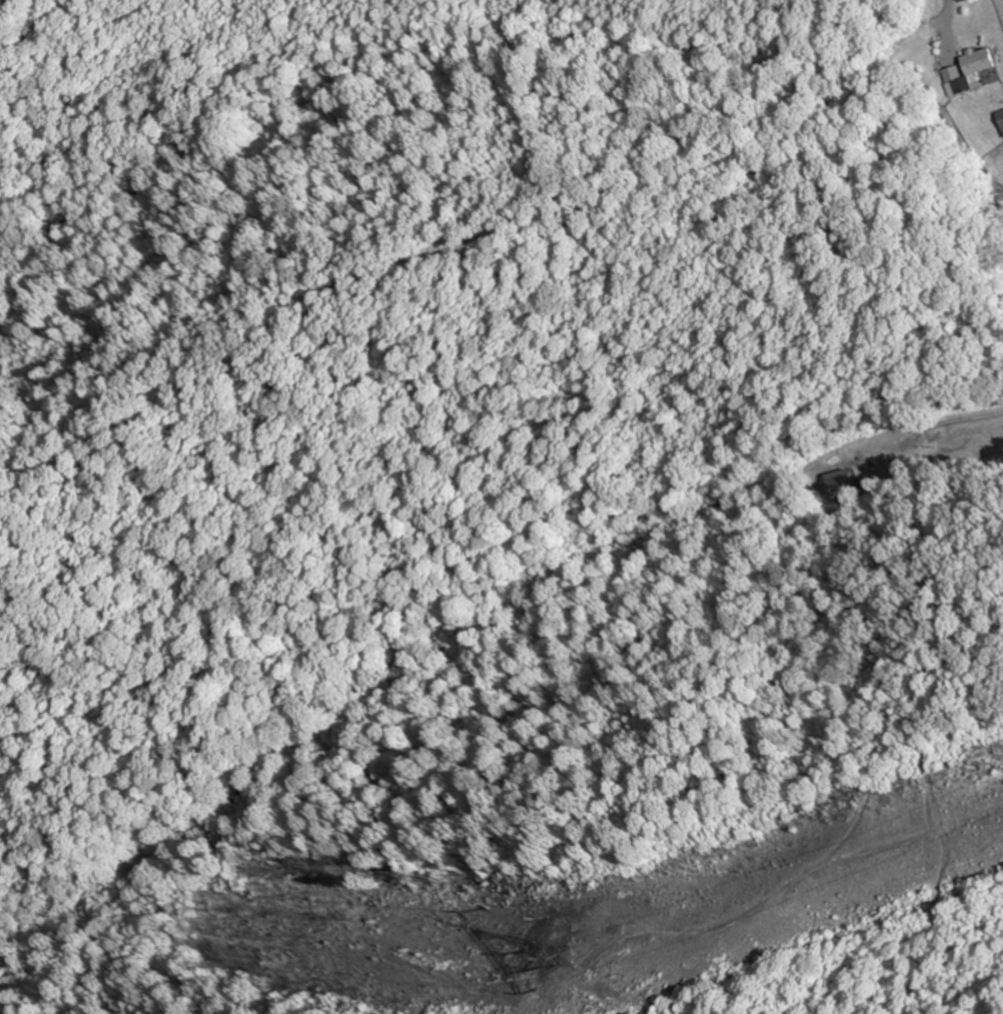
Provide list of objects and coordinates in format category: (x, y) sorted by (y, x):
building: (977, 69)
building: (1001, 117)
power tower: (555, 960)

